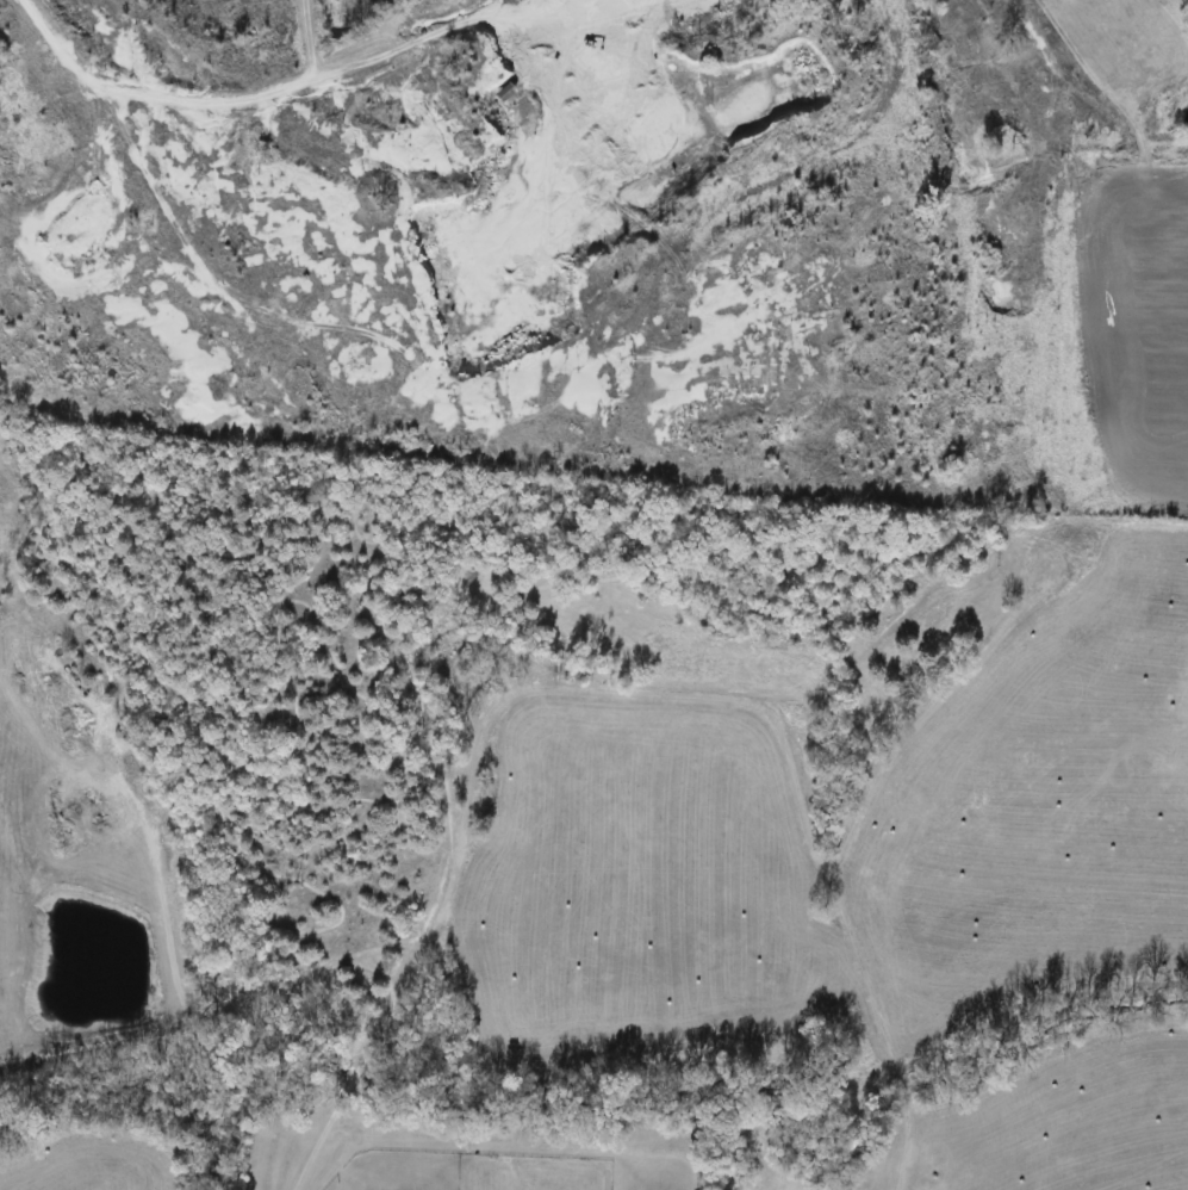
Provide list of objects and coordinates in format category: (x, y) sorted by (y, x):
building: (510, 93)

